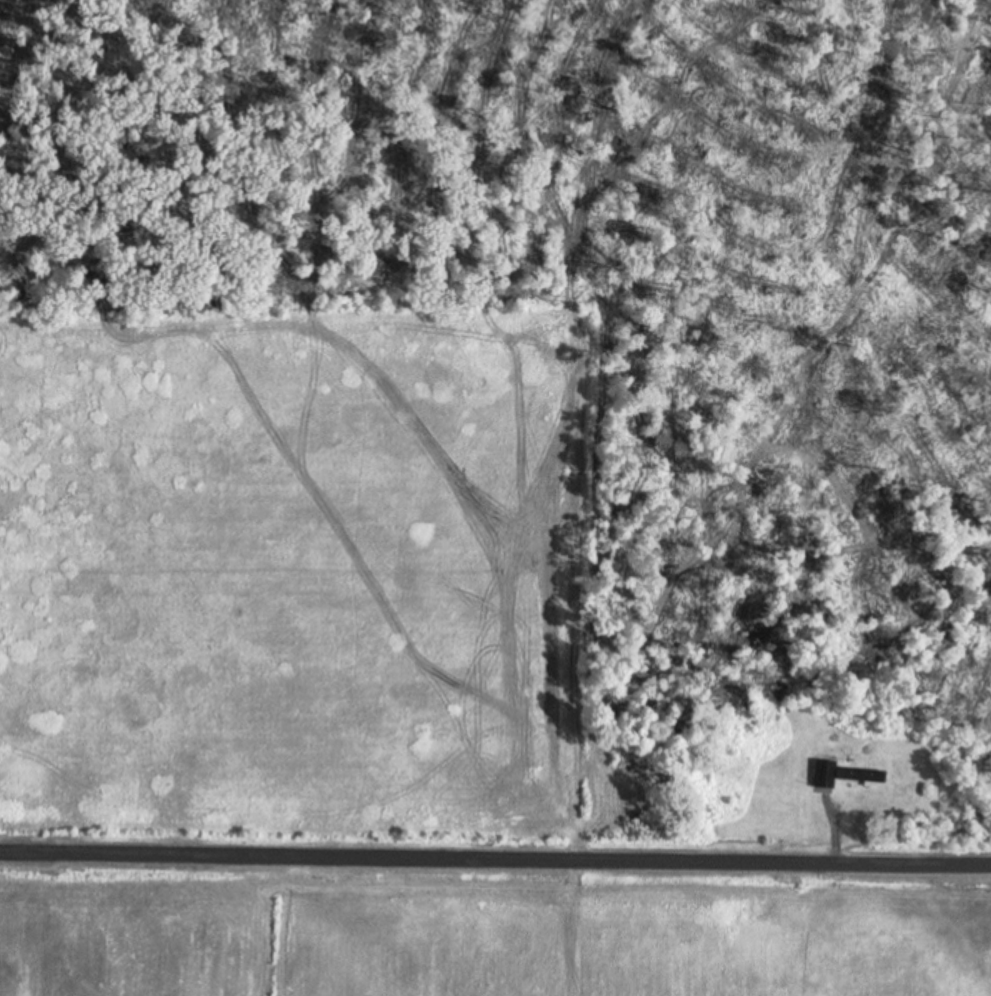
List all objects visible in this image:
building: (846, 773)
road: (495, 853)

